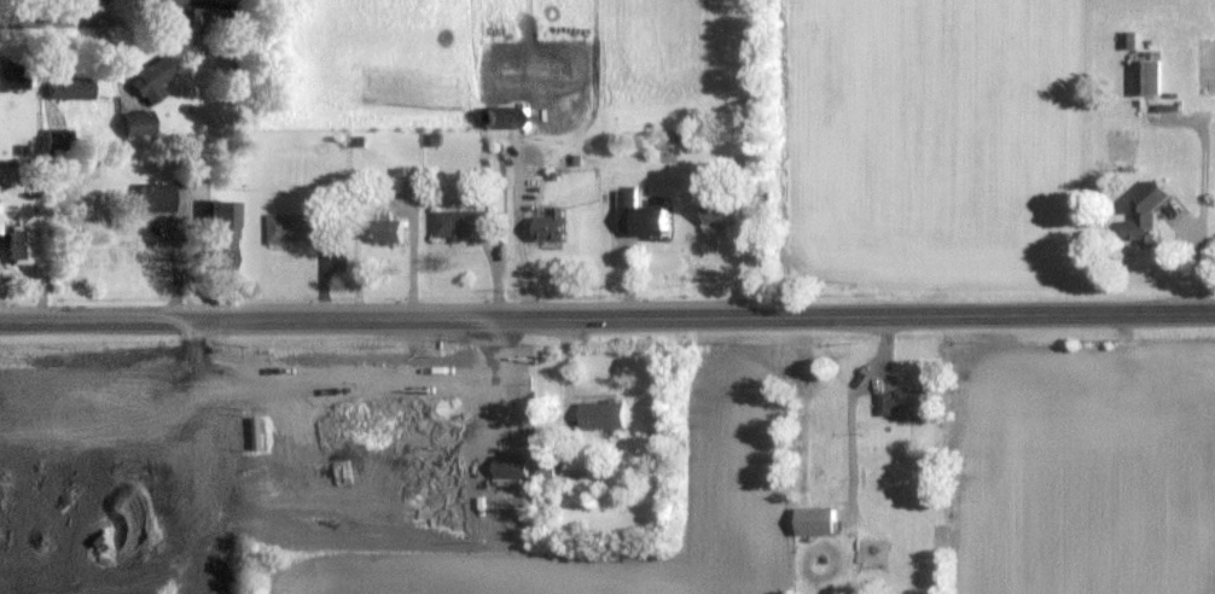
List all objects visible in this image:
road: (105, 11)
building: (215, 21)
road: (53, 22)
building: (1203, 65)
building: (14, 76)
building: (1144, 76)
building: (156, 80)
building: (74, 88)
building: (506, 120)
building: (141, 123)
building: (56, 140)
building: (409, 181)
building: (159, 198)
building: (725, 215)
building: (1141, 216)
building: (643, 217)
building: (1, 220)
road: (1204, 220)
building: (464, 225)
building: (301, 228)
building: (553, 229)
building: (393, 232)
building: (227, 237)
building: (23, 247)
road: (607, 318)
road: (492, 383)
road: (565, 389)
building: (906, 404)
building: (610, 409)
building: (513, 467)
building: (548, 472)
building: (820, 522)

